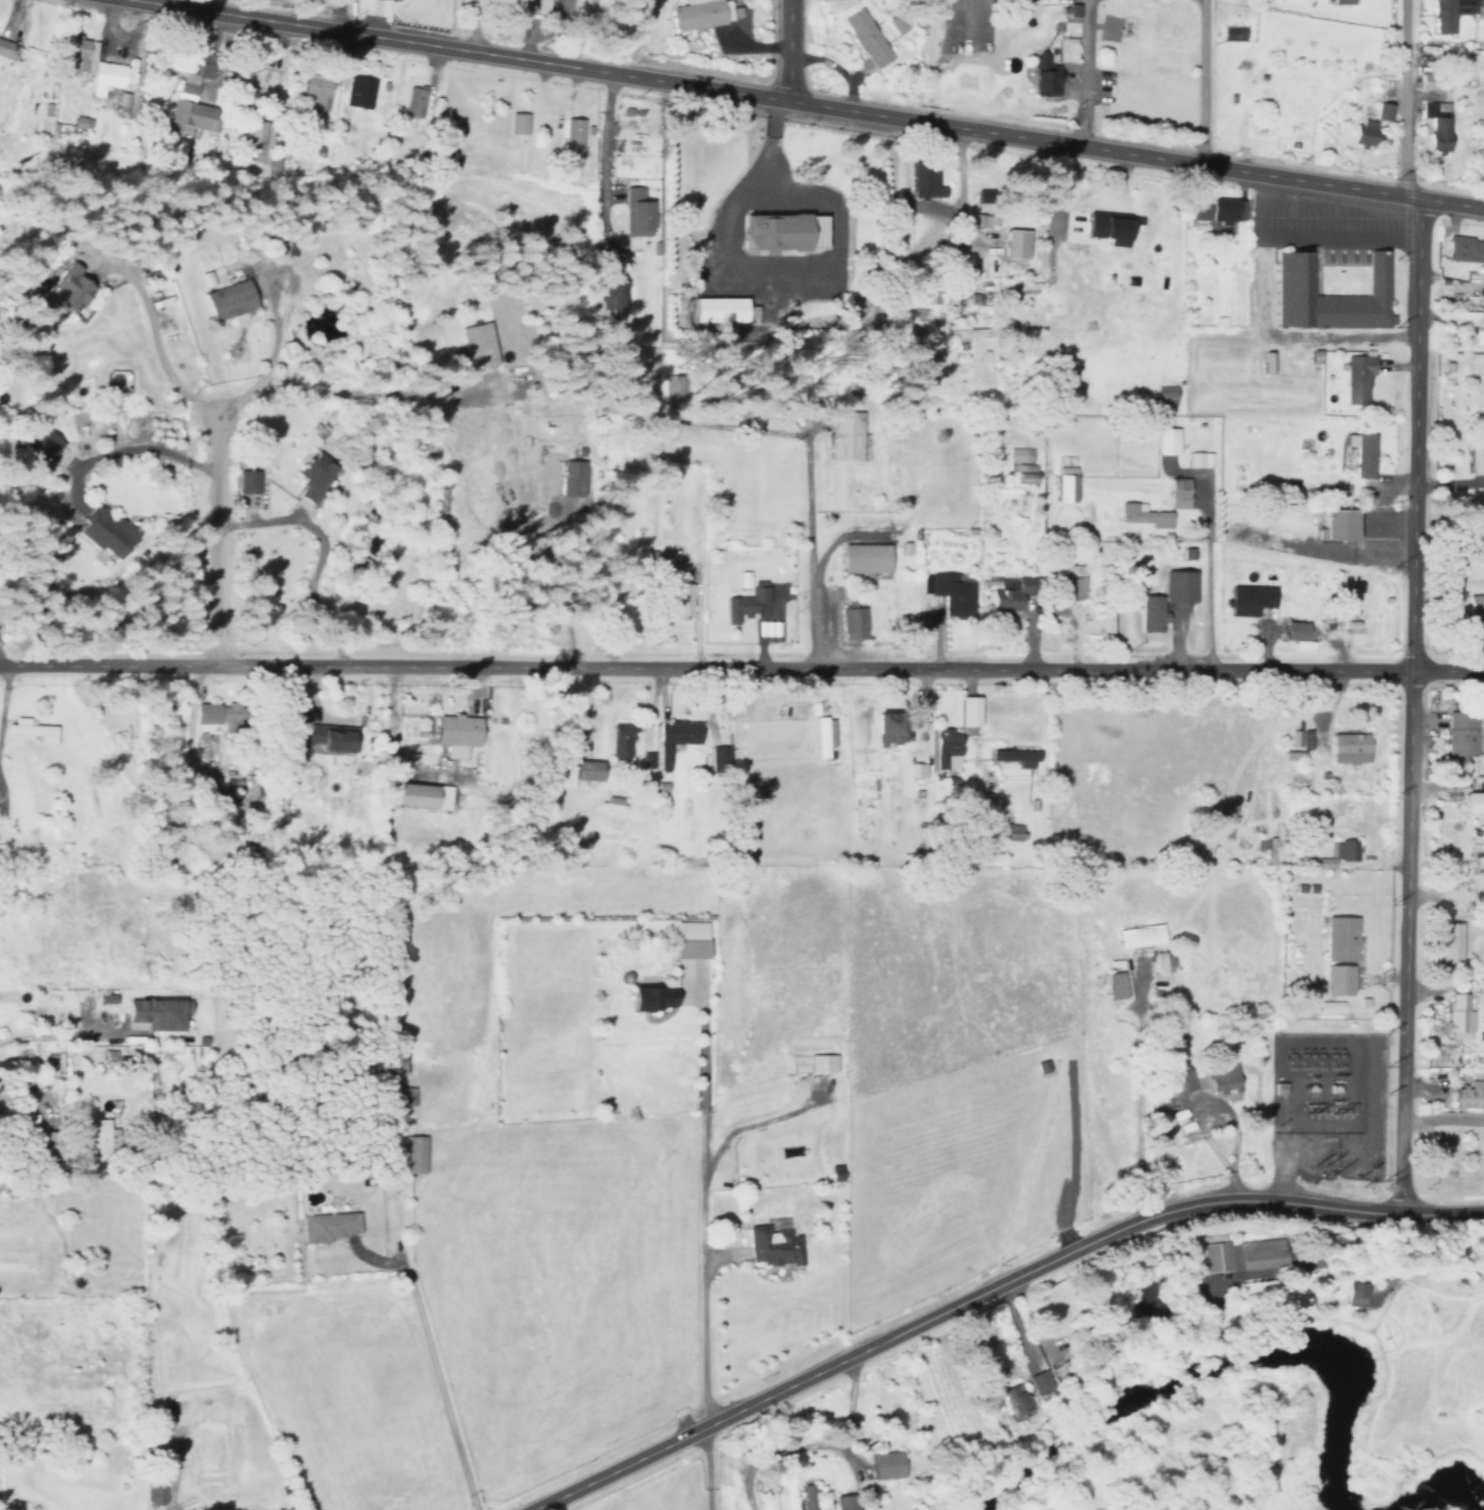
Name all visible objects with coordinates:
building: (385, 1)
building: (1342, 2)
building: (533, 4)
building: (1070, 8)
building: (1477, 9)
building: (701, 13)
building: (1443, 15)
road: (472, 24)
building: (865, 37)
building: (4, 47)
building: (1062, 47)
road: (789, 50)
building: (76, 54)
building: (1042, 72)
road: (1080, 73)
building: (104, 75)
road: (1201, 83)
building: (314, 90)
building: (357, 90)
building: (191, 92)
building: (411, 101)
road: (813, 103)
building: (1383, 111)
building: (1432, 111)
building: (516, 121)
building: (569, 133)
building: (1361, 133)
building: (248, 136)
building: (269, 165)
road: (767, 168)
building: (926, 173)
road: (1374, 199)
road: (1339, 204)
building: (1217, 209)
building: (633, 211)
road: (1373, 219)
building: (1107, 227)
road: (1339, 232)
building: (781, 233)
building: (1017, 244)
building: (1462, 247)
road: (765, 285)
road: (292, 289)
building: (66, 290)
building: (611, 295)
building: (1335, 296)
building: (228, 299)
building: (716, 309)
road: (1267, 329)
building: (971, 331)
building: (1481, 338)
road: (155, 343)
building: (477, 344)
building: (1265, 362)
building: (1357, 378)
road: (357, 393)
building: (1171, 424)
building: (845, 435)
building: (43, 447)
building: (1361, 454)
building: (1475, 455)
building: (1200, 459)
building: (1029, 466)
building: (311, 477)
building: (572, 477)
building: (245, 481)
building: (1065, 484)
building: (1178, 492)
building: (1143, 515)
building: (1335, 525)
building: (104, 532)
road: (213, 532)
road: (807, 546)
building: (868, 557)
building: (1179, 586)
building: (1073, 589)
building: (950, 593)
building: (1010, 595)
building: (680, 600)
building: (1256, 601)
building: (745, 602)
road: (1409, 604)
building: (1151, 613)
building: (1474, 616)
building: (853, 623)
building: (1294, 630)
road: (741, 664)
road: (3, 686)
building: (968, 711)
building: (214, 713)
building: (888, 727)
building: (28, 729)
building: (456, 734)
building: (823, 735)
building: (1305, 735)
building: (1462, 736)
building: (675, 738)
building: (621, 744)
building: (1347, 747)
building: (946, 749)
building: (1015, 756)
building: (720, 758)
building: (587, 770)
building: (916, 770)
building: (421, 796)
building: (1474, 801)
building: (1263, 849)
building: (1334, 854)
building: (1297, 886)
building: (1310, 887)
road: (1444, 893)
building: (1133, 926)
building: (1139, 936)
building: (690, 939)
building: (1447, 943)
building: (1331, 946)
building: (1295, 948)
building: (1154, 951)
building: (1114, 984)
building: (651, 997)
building: (1452, 1008)
building: (157, 1012)
road: (52, 1036)
building: (1170, 1053)
building: (814, 1055)
building: (393, 1062)
building: (1215, 1065)
crop: (951, 1072)
building: (1182, 1080)
power substation: (1313, 1083)
building: (1466, 1083)
building: (1171, 1107)
building: (1182, 1119)
building: (97, 1143)
building: (414, 1154)
crop: (538, 1189)
building: (327, 1226)
building: (757, 1234)
building: (1215, 1245)
building: (1255, 1248)
road: (988, 1288)
building: (1355, 1293)
road: (426, 1358)
river: (1218, 1366)
building: (1036, 1376)
building: (1014, 1389)
crop: (350, 1396)
building: (882, 1457)
building: (155, 1489)
building: (801, 1491)
river: (1437, 1492)
building: (842, 1496)
road: (179, 1505)

